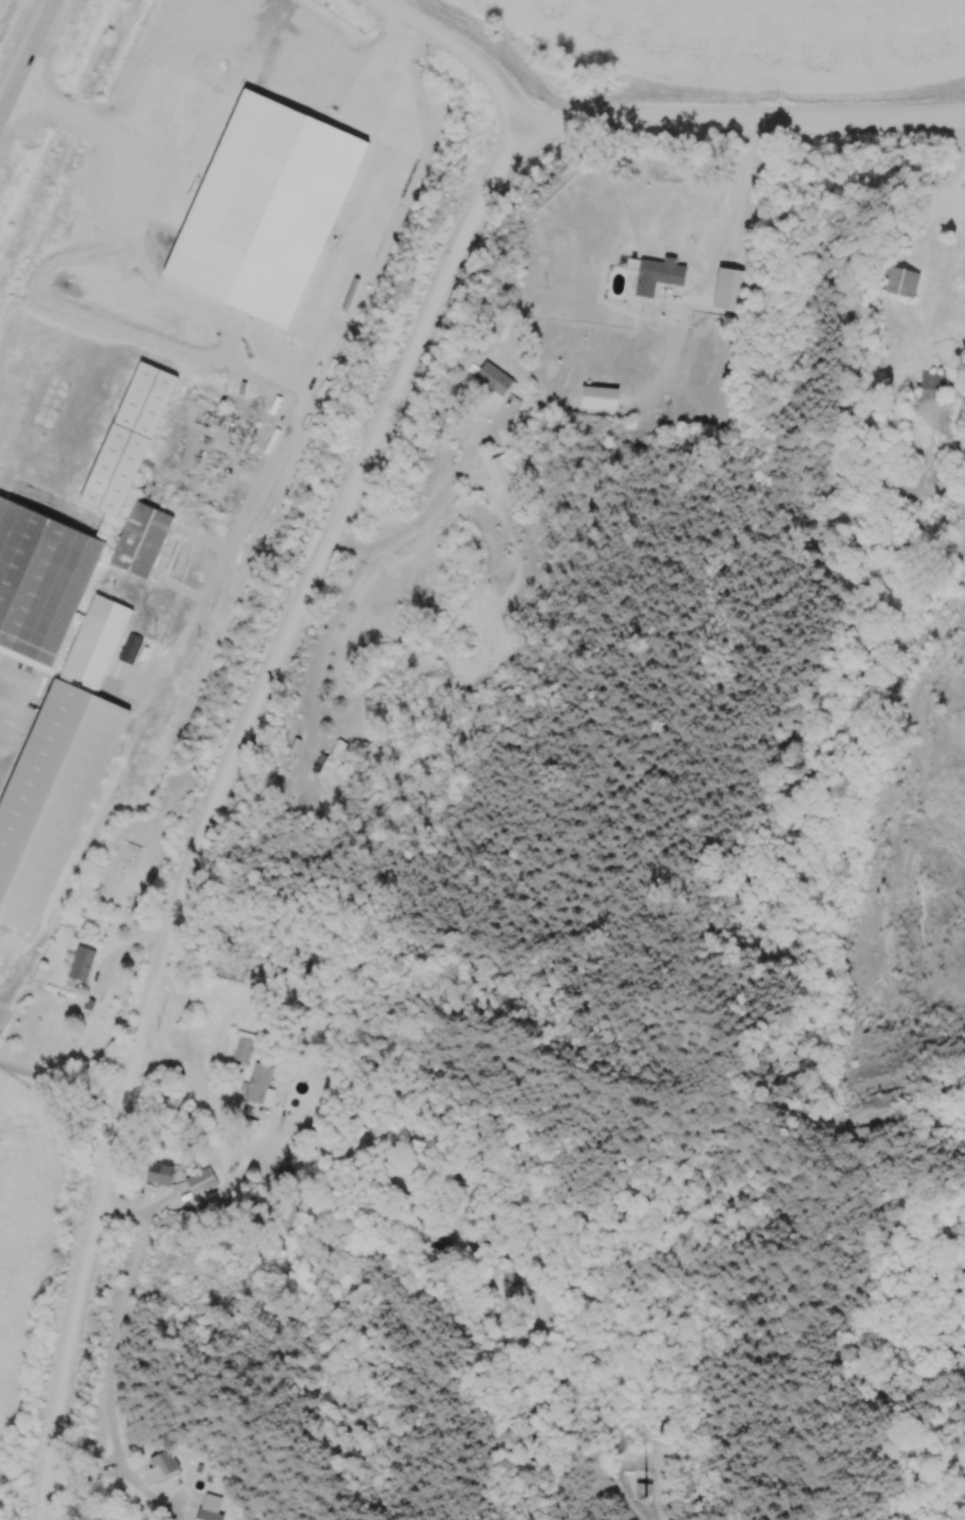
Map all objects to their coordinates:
road: (26, 56)
road: (463, 57)
road: (853, 115)
road: (628, 116)
road: (105, 119)
road: (734, 185)
building: (690, 253)
building: (902, 282)
building: (745, 283)
building: (658, 305)
road: (322, 353)
building: (496, 380)
building: (934, 385)
building: (498, 474)
road: (428, 511)
building: (82, 536)
road: (321, 651)
road: (4, 679)
building: (330, 760)
building: (61, 768)
road: (209, 805)
building: (83, 965)
building: (245, 1047)
road: (187, 1077)
road: (59, 1080)
building: (261, 1084)
building: (162, 1173)
building: (203, 1183)
building: (293, 1211)
road: (106, 1356)
building: (163, 1466)
building: (210, 1516)

